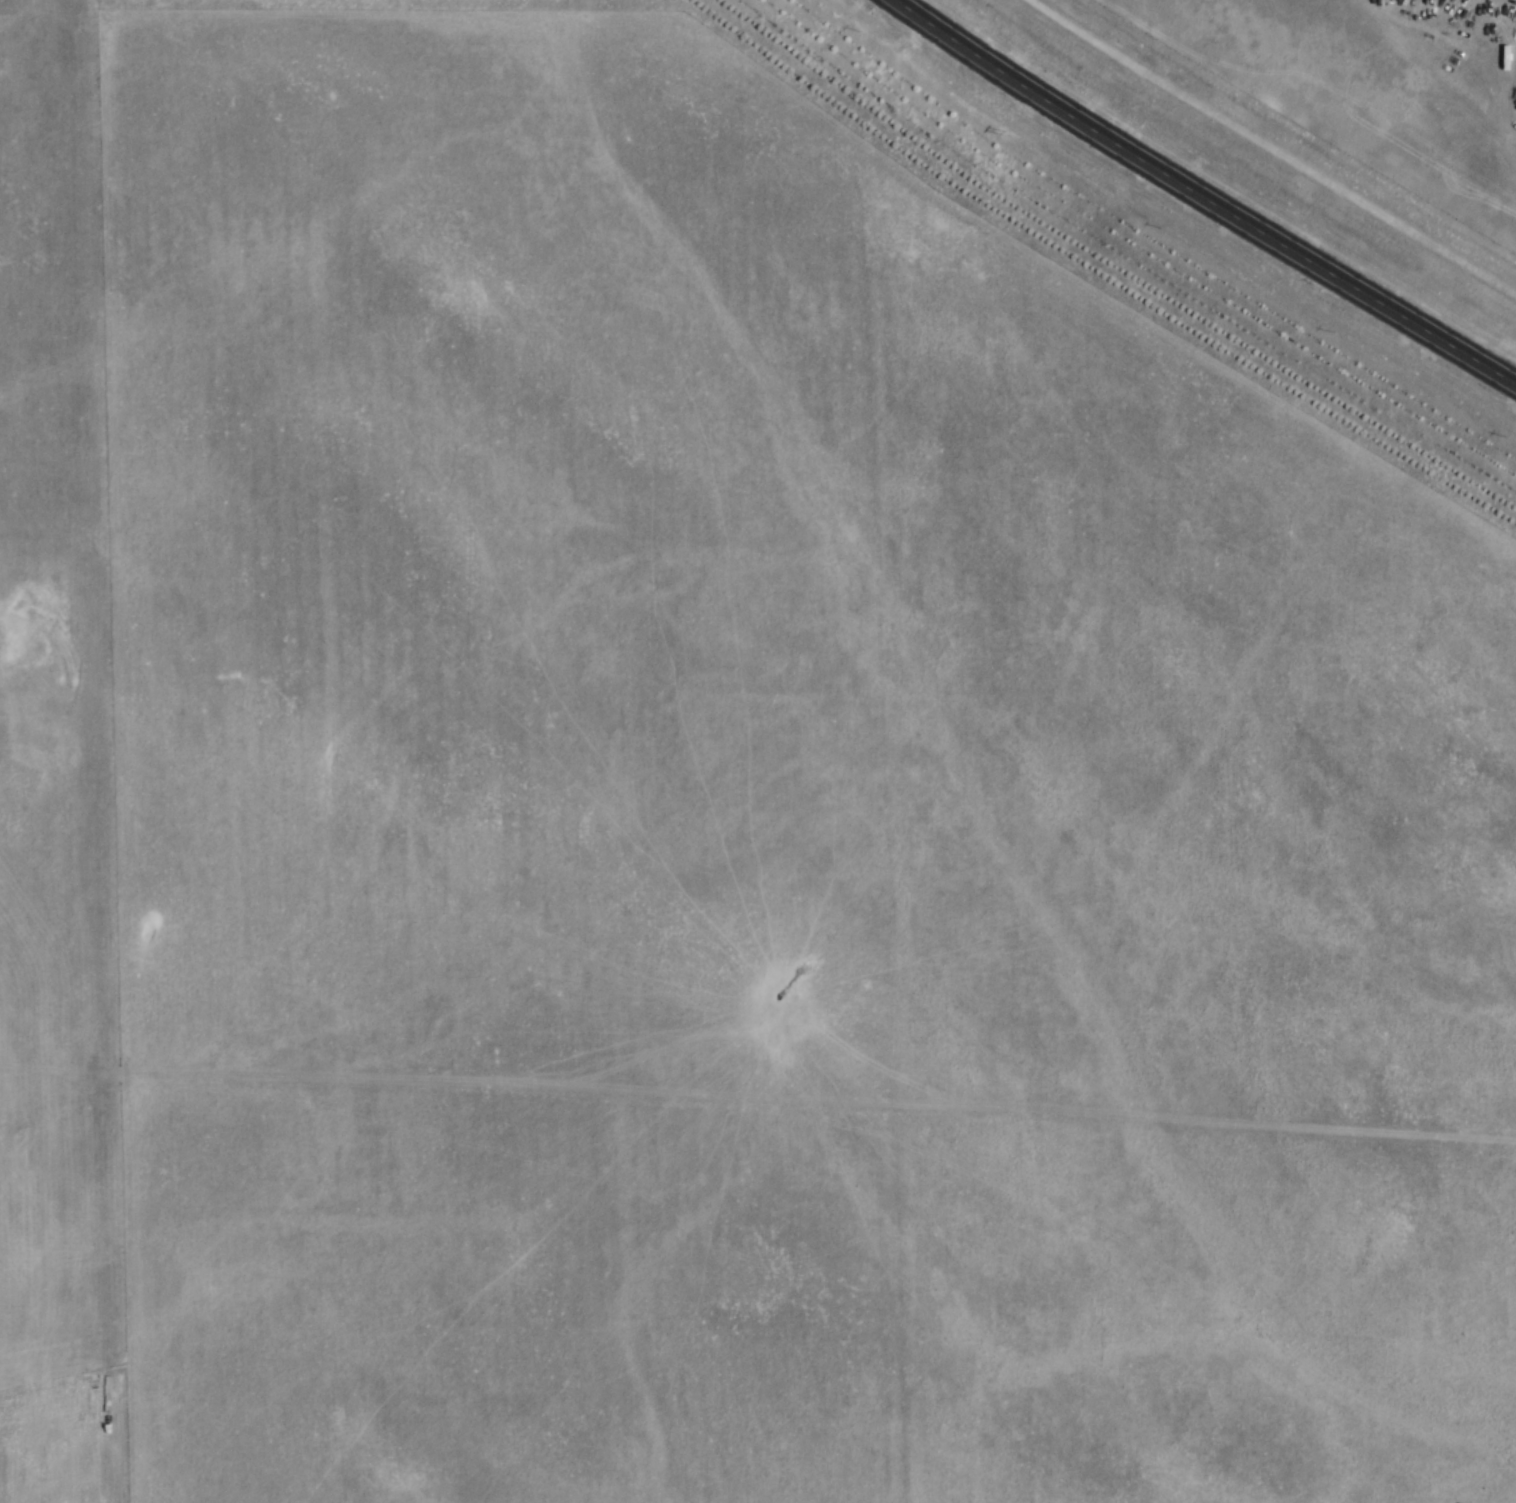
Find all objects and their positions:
road: (1282, 145)
road: (1205, 194)
building: (465, 975)

